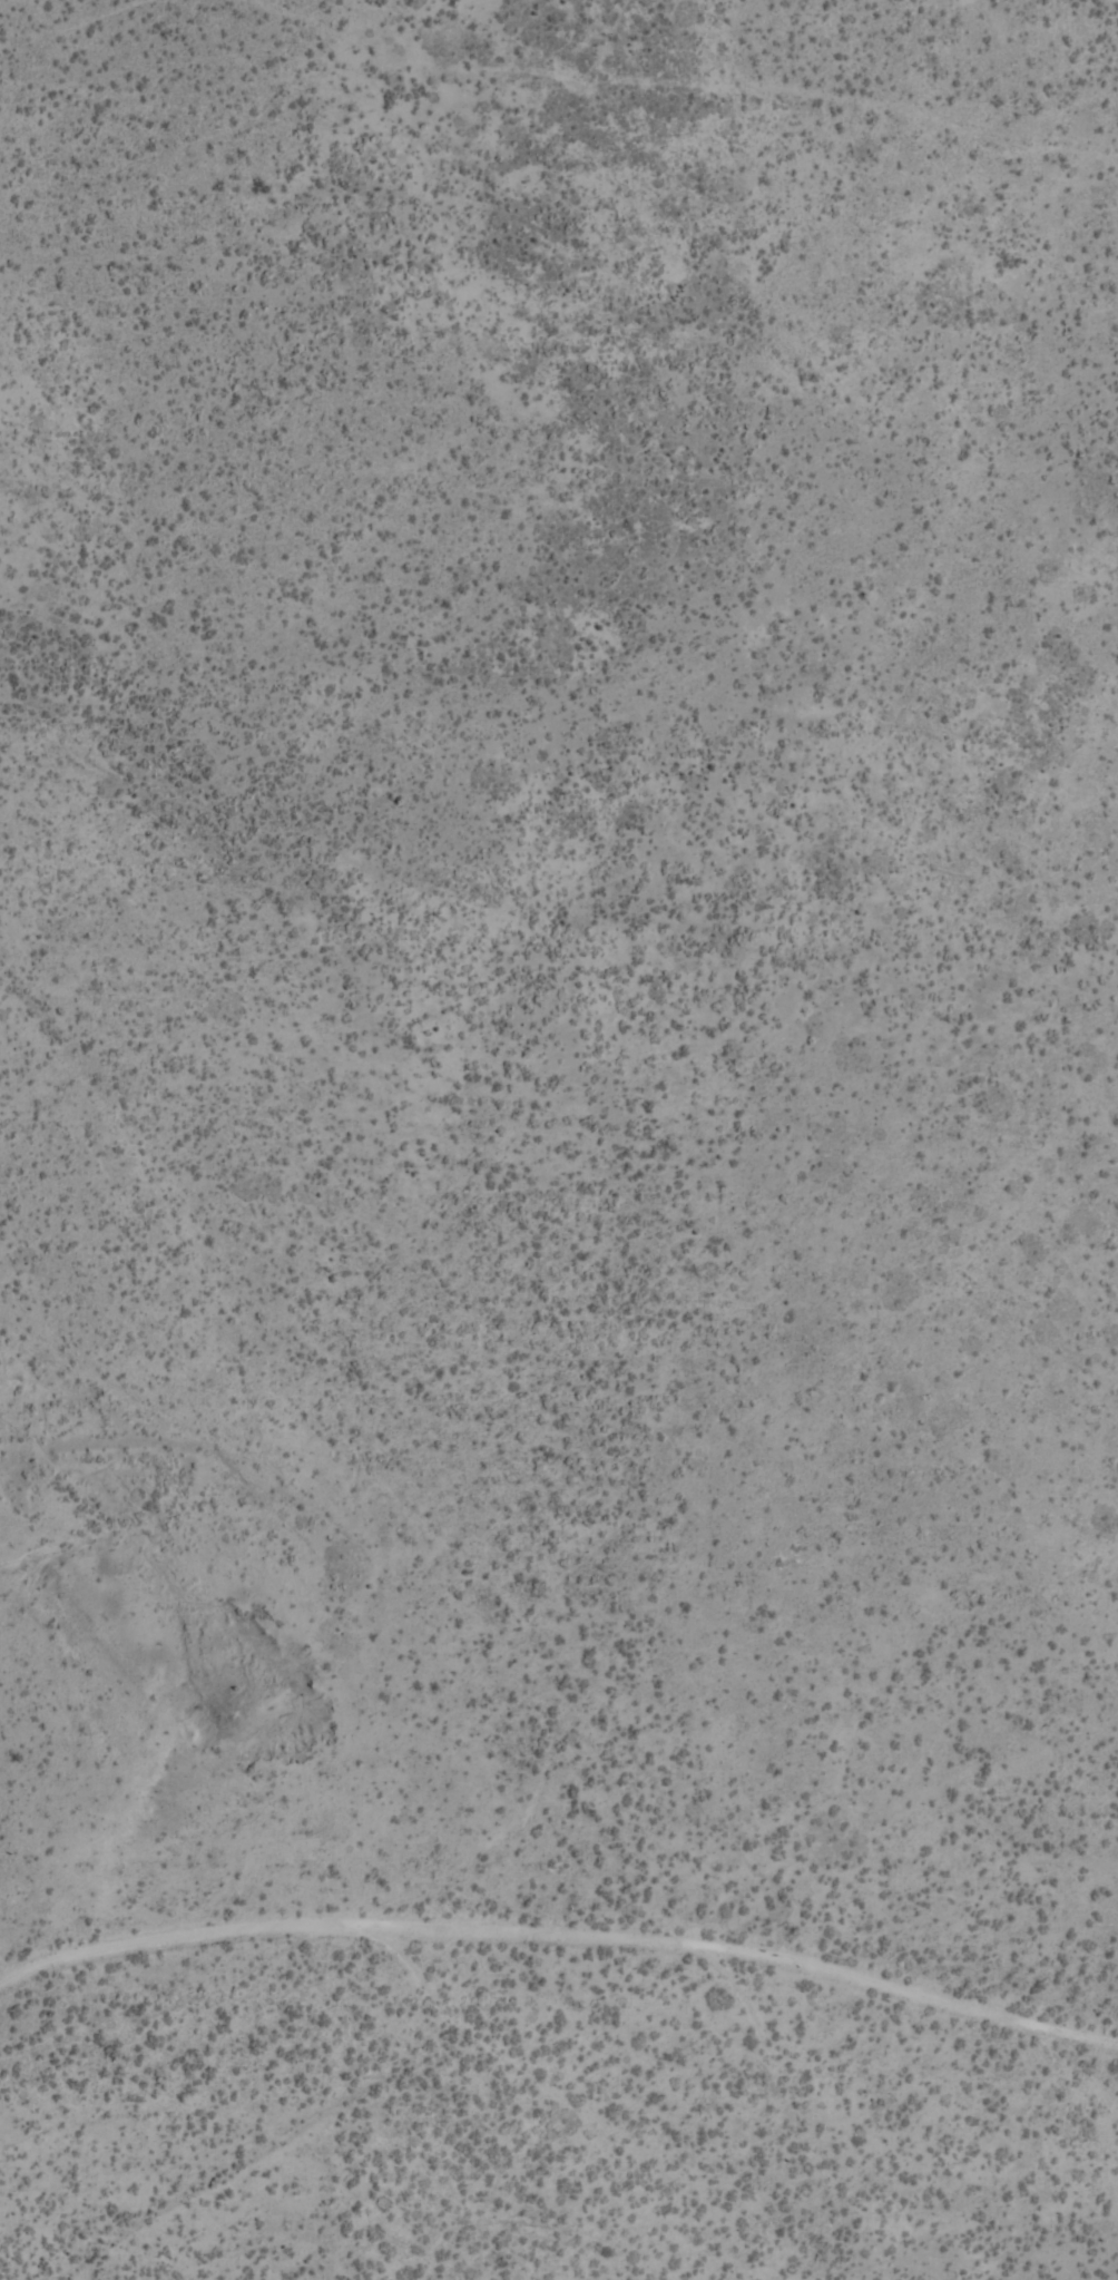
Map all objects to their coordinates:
road: (558, 1921)

